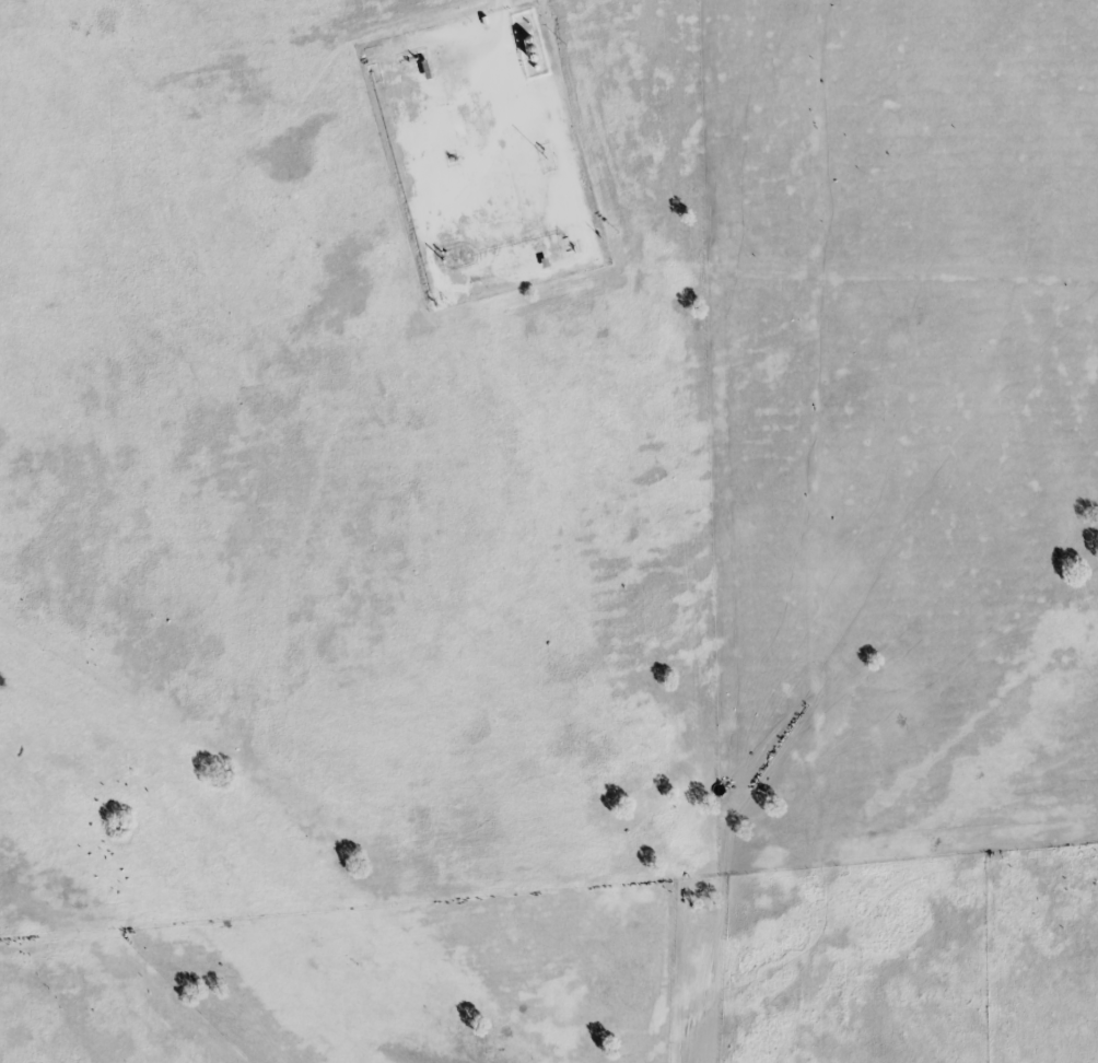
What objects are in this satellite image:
road: (514, 69)

